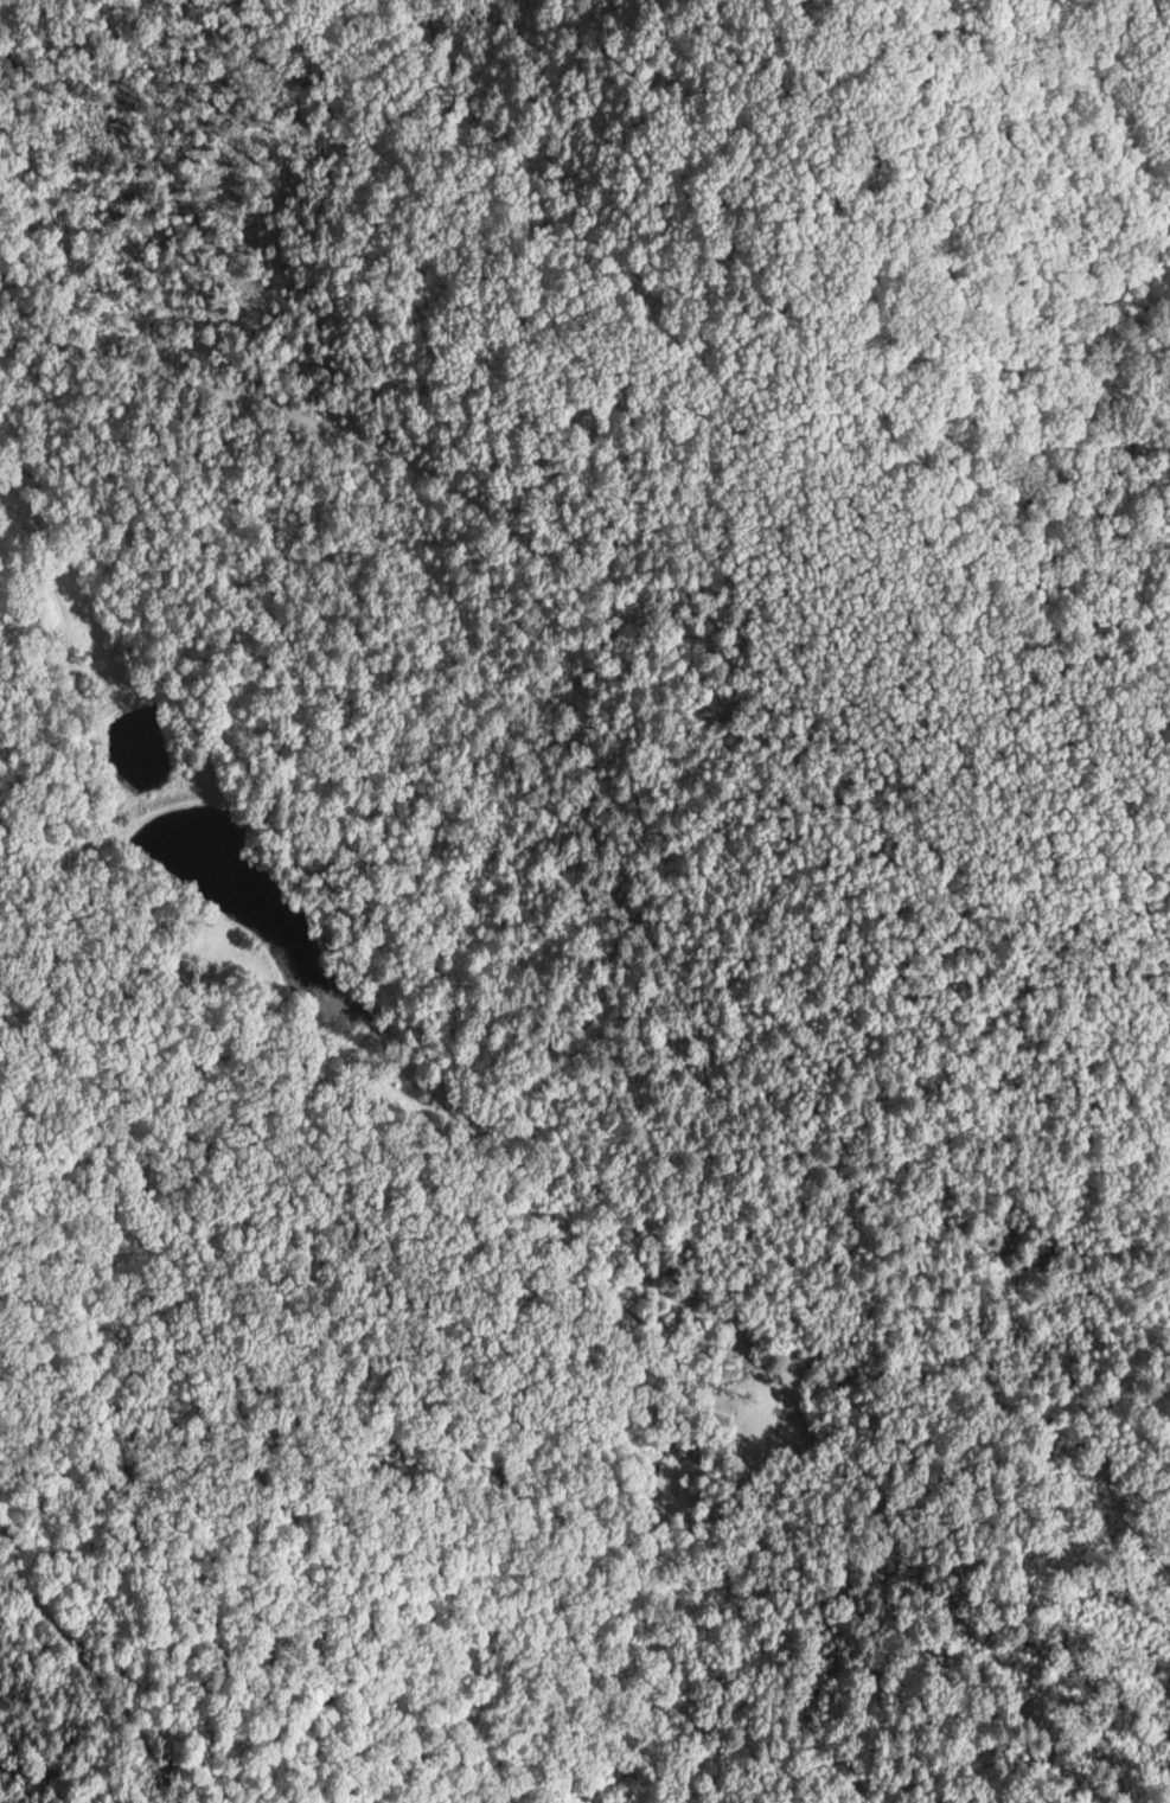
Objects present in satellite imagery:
road: (621, 582)
road: (270, 1105)

